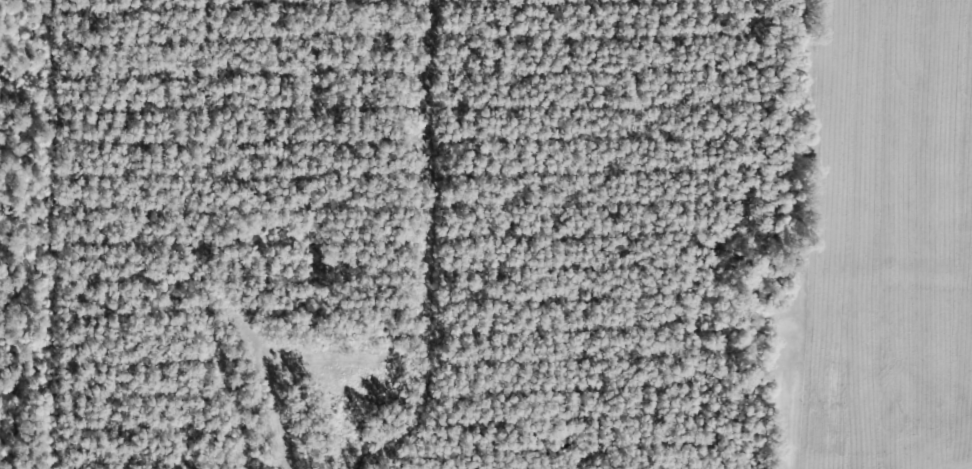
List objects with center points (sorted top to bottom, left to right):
road: (746, 234)

